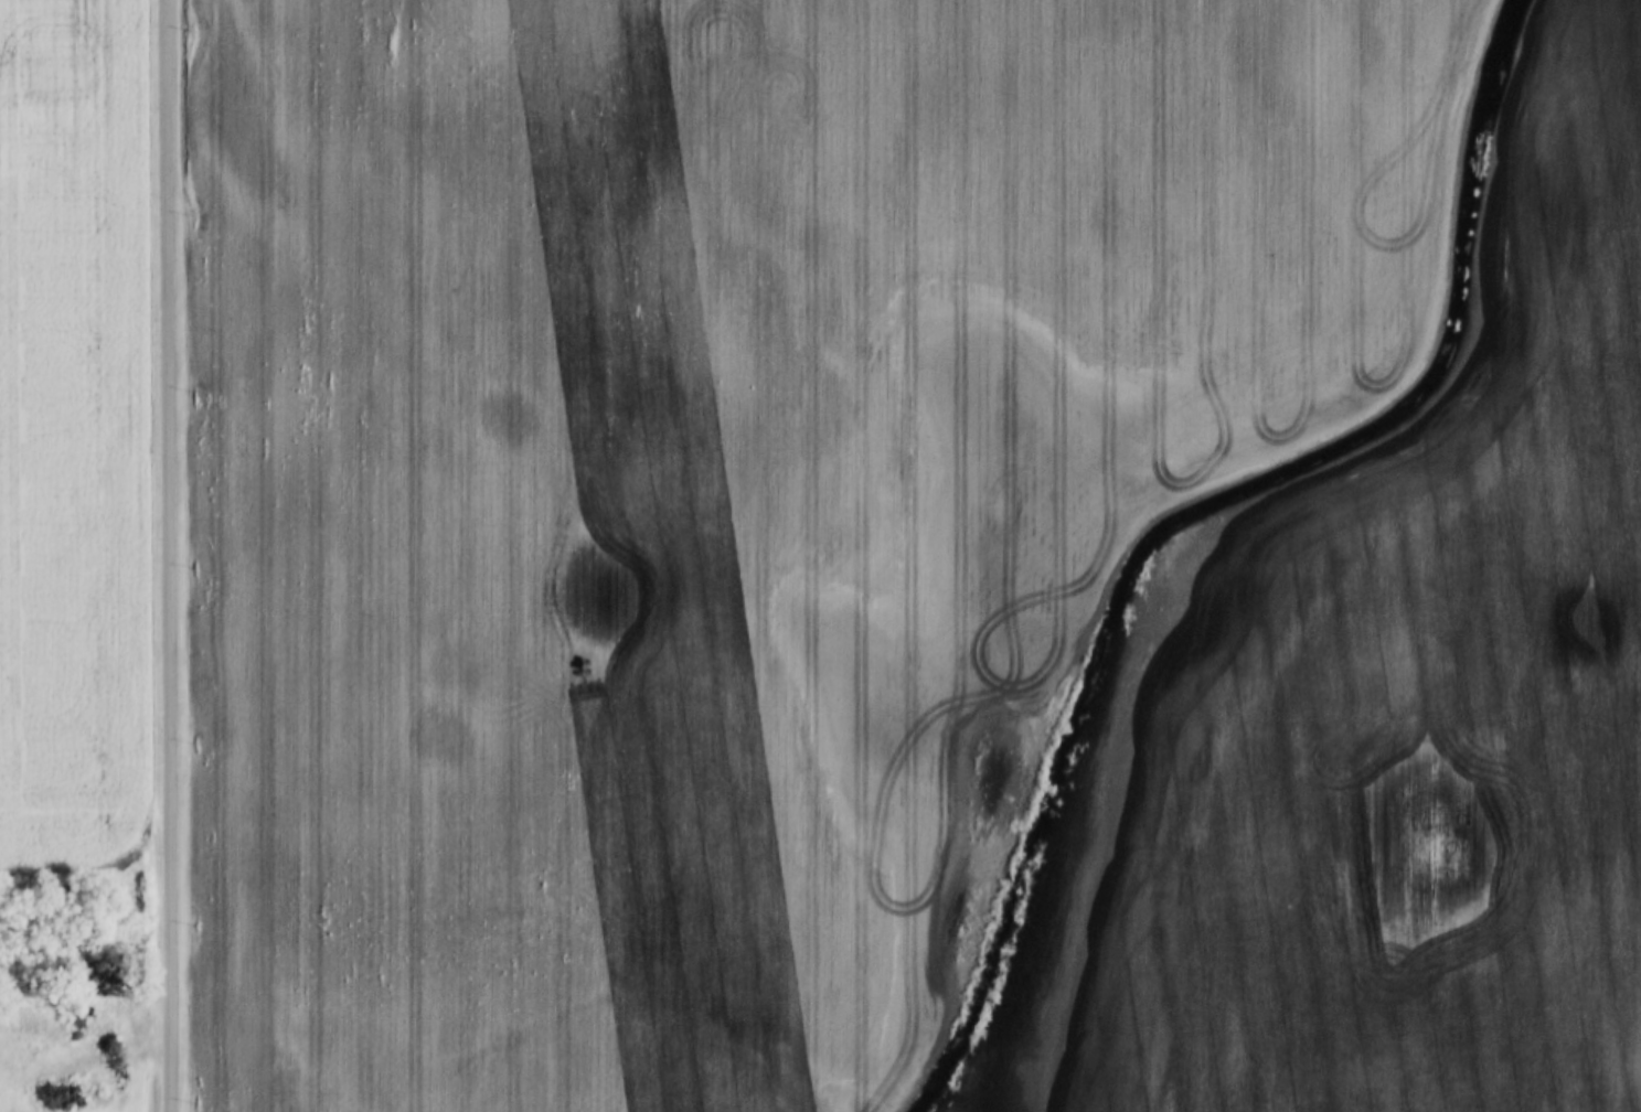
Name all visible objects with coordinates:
road: (171, 555)
building: (98, 991)
silo: (98, 991)
building: (102, 1007)
silo: (102, 1007)
building: (100, 1027)
silo: (100, 1027)
building: (76, 1028)
silo: (76, 1028)
building: (53, 1029)
silo: (53, 1029)
building: (29, 1030)
silo: (29, 1030)
building: (98, 1094)
silo: (98, 1094)
building: (71, 1095)
silo: (71, 1095)

